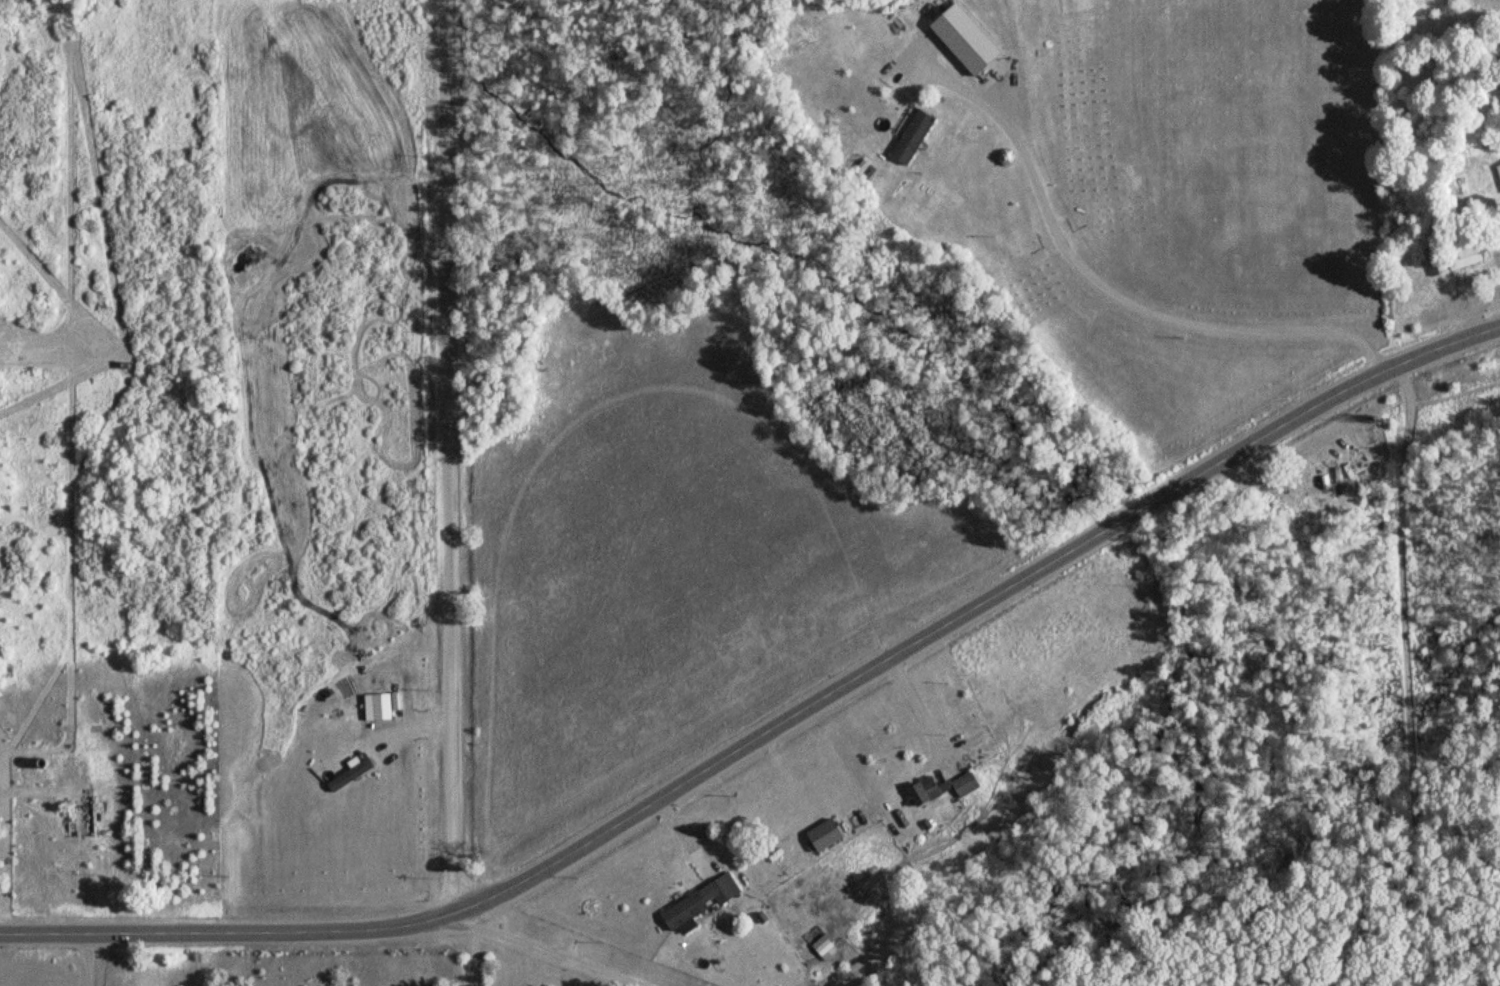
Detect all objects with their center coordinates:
building: (889, 2)
road: (423, 20)
building: (917, 136)
building: (1498, 169)
building: (1455, 258)
road: (454, 456)
road: (1405, 684)
road: (779, 730)
building: (973, 781)
building: (930, 791)
building: (829, 833)
building: (702, 901)
road: (541, 947)
building: (830, 947)
road: (1424, 955)
road: (1468, 974)
road: (622, 984)
road: (629, 984)

